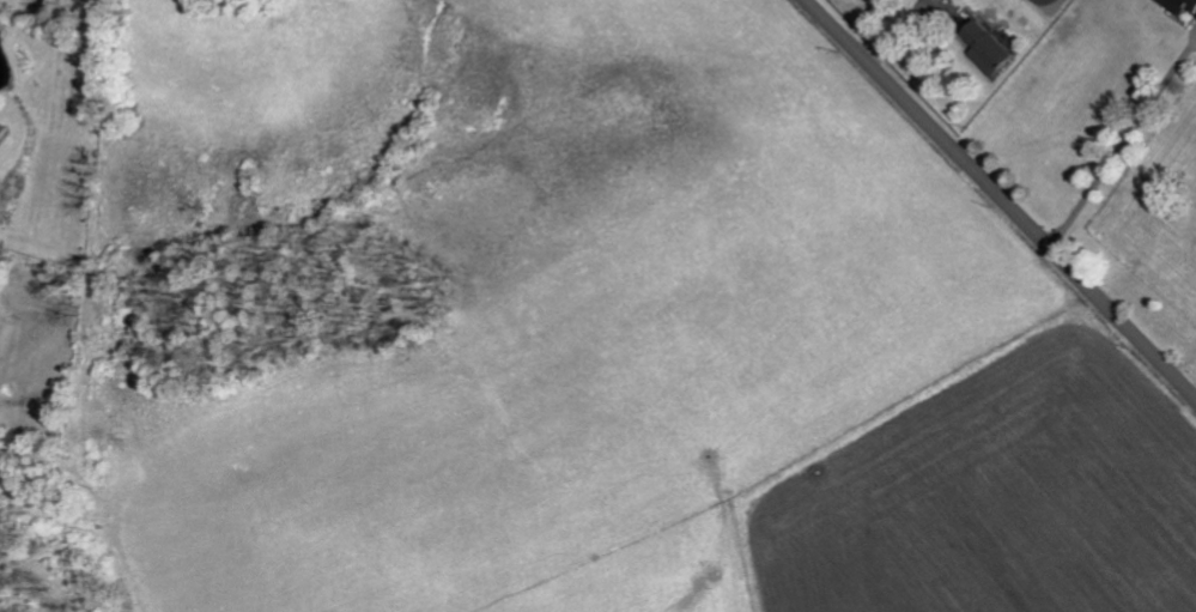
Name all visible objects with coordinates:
building: (1183, 6)
building: (992, 48)
road: (1122, 150)
road: (998, 199)

